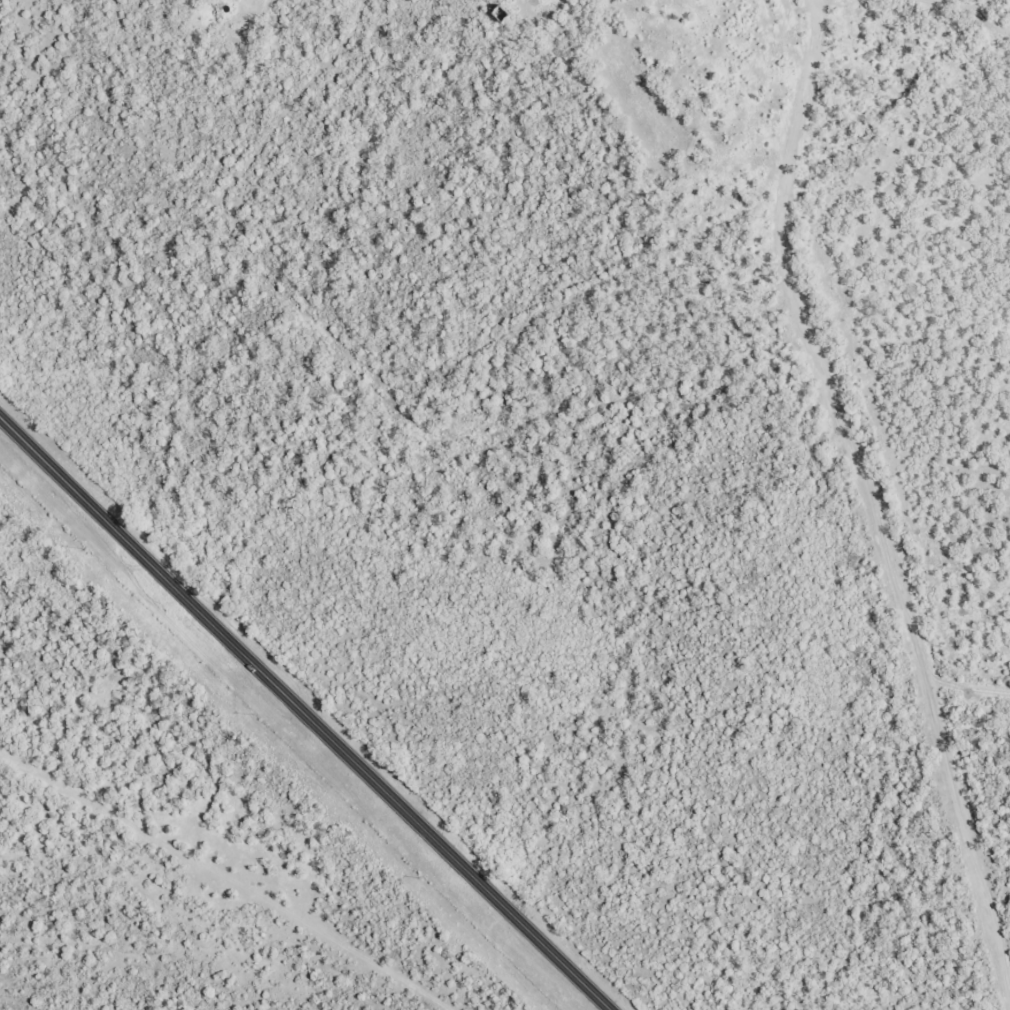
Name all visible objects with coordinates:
road: (839, 502)
road: (304, 715)

